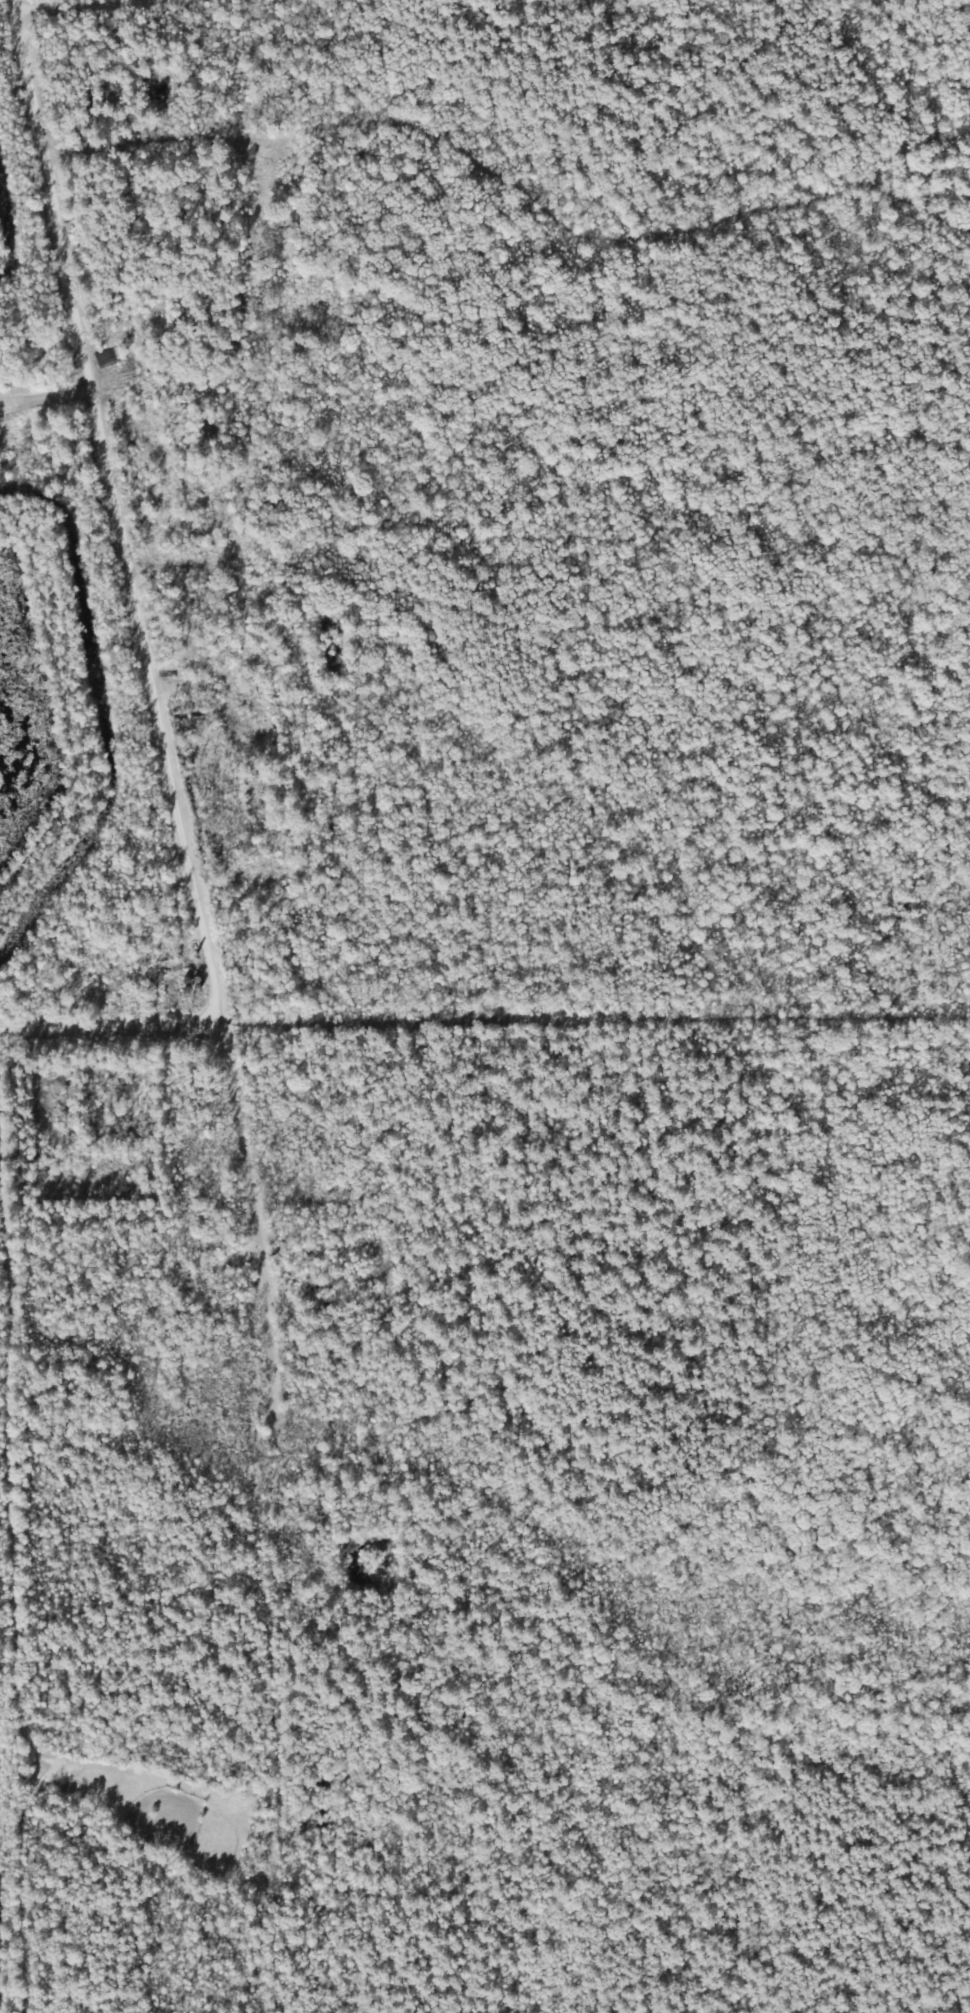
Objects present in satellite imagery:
road: (154, 808)
road: (91, 1047)
road: (9, 1309)

